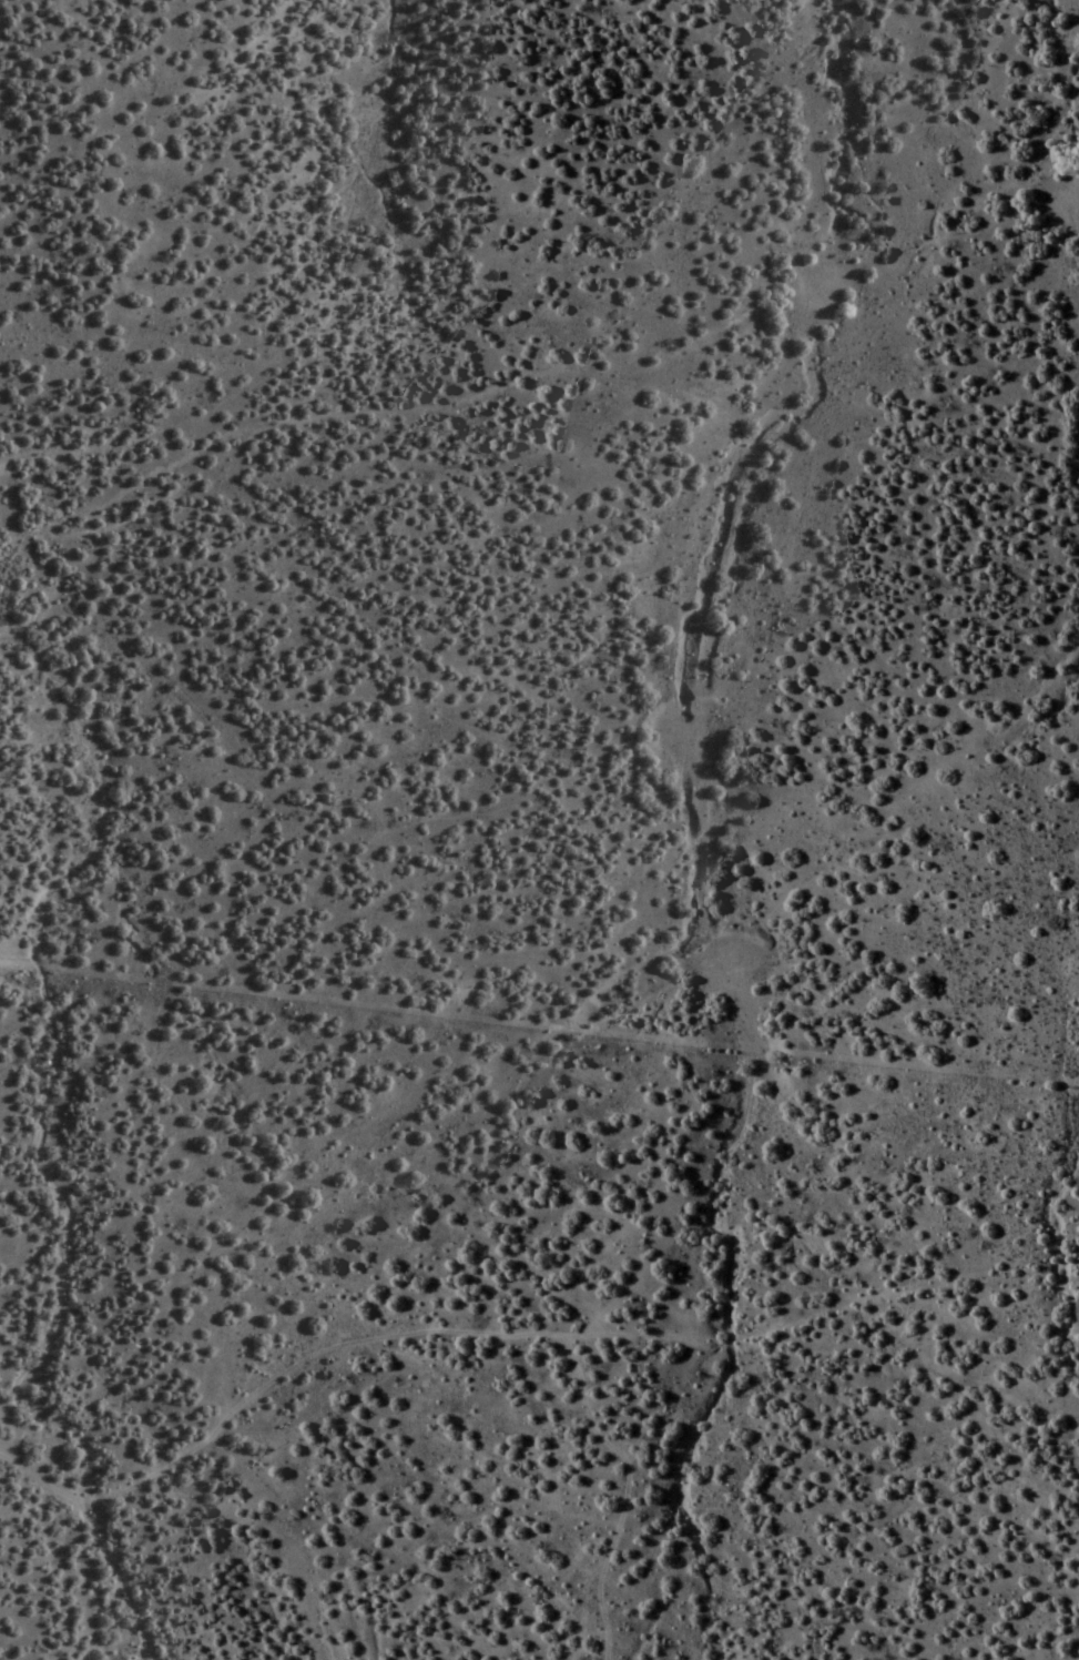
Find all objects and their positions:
road: (513, 1332)

